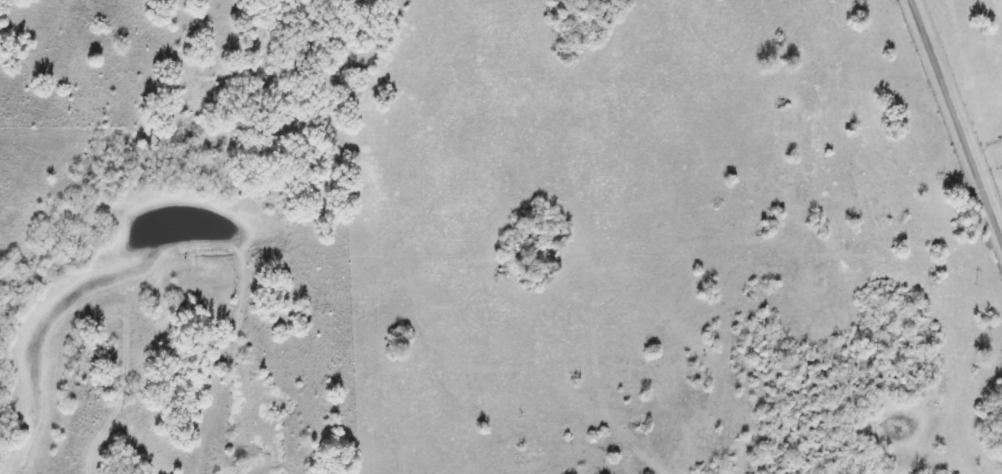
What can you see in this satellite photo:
road: (961, 107)

